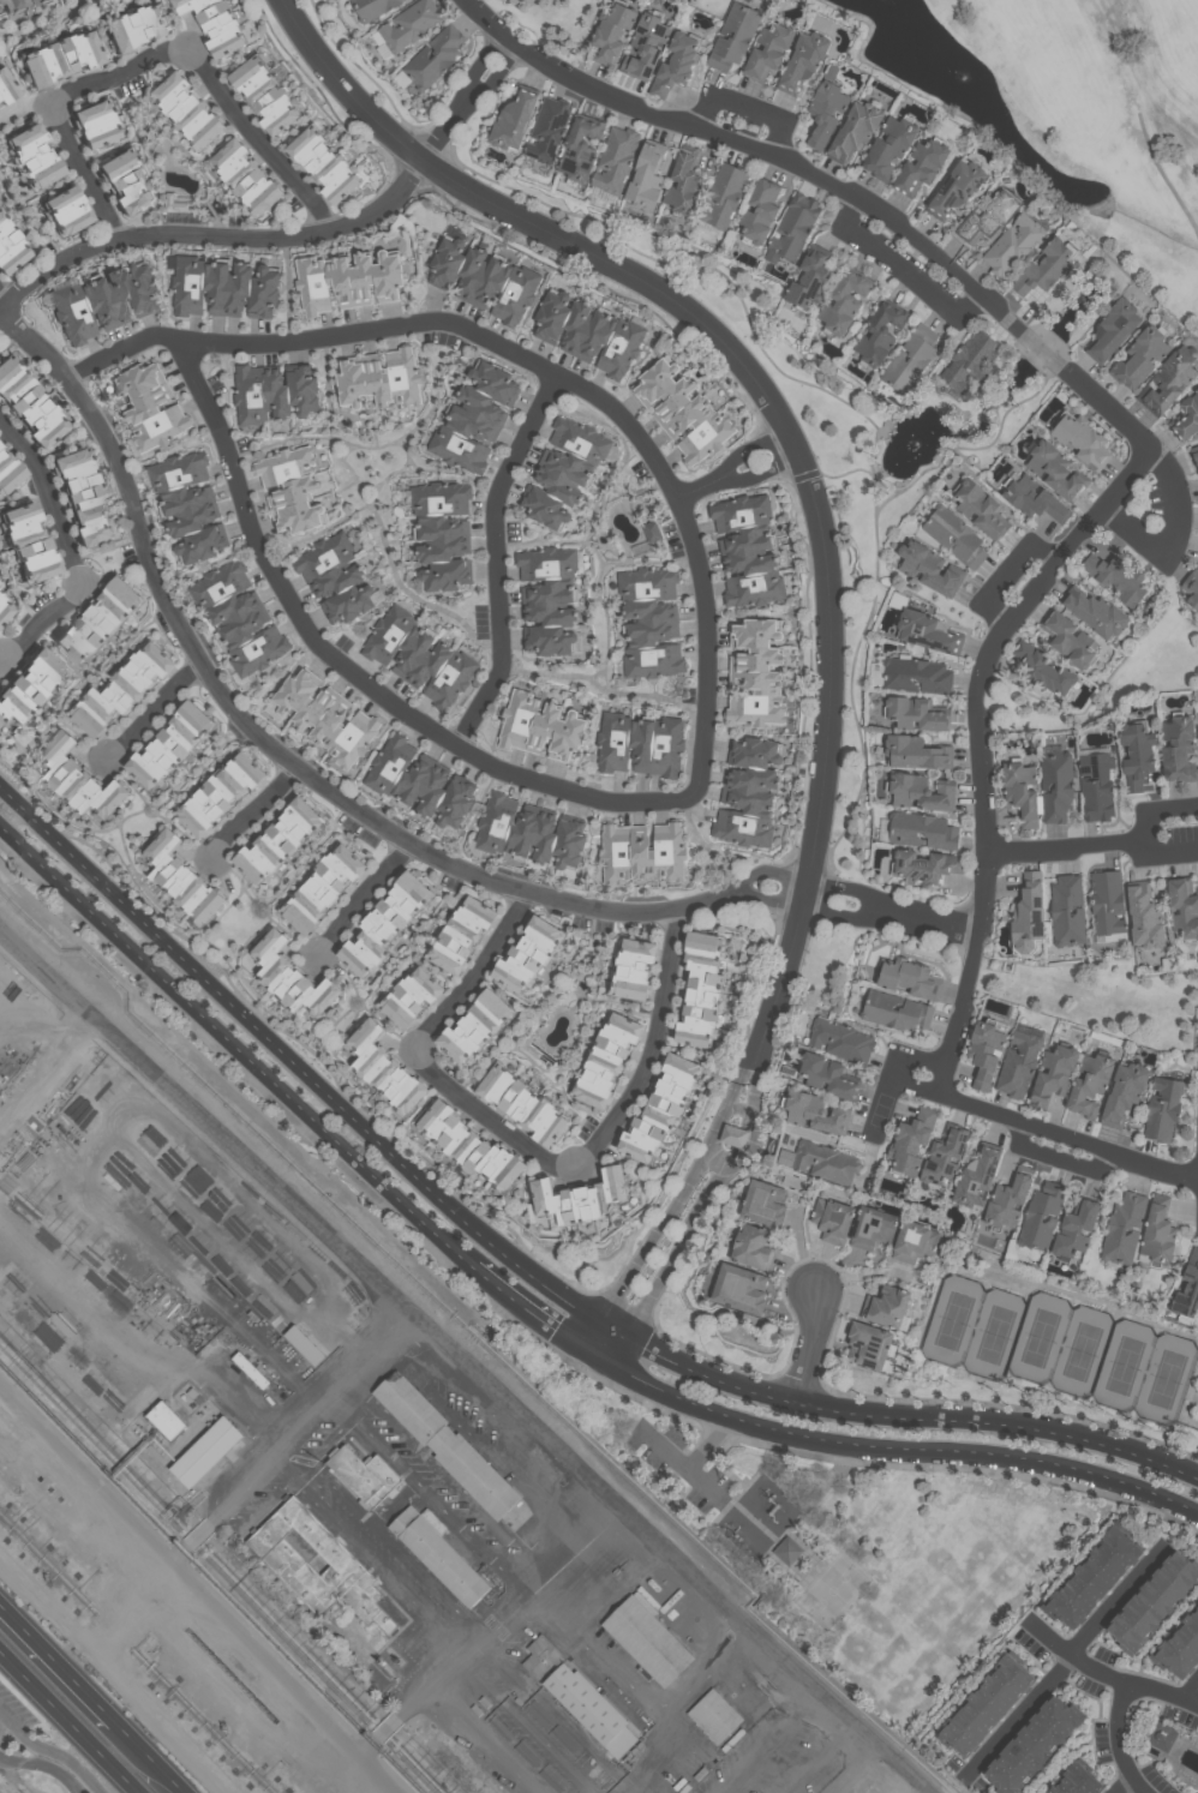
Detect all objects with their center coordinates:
building: (16, 4)
building: (375, 7)
building: (215, 23)
building: (411, 24)
road: (48, 28)
building: (137, 29)
building: (612, 31)
building: (735, 35)
building: (646, 46)
building: (769, 49)
building: (436, 55)
building: (62, 58)
building: (804, 60)
building: (676, 62)
road: (347, 85)
building: (6, 86)
building: (268, 94)
road: (471, 94)
road: (748, 106)
road: (50, 107)
park: (1065, 107)
building: (191, 109)
building: (827, 109)
building: (514, 118)
building: (98, 125)
road: (447, 127)
building: (549, 127)
building: (856, 130)
road: (263, 139)
building: (891, 144)
building: (581, 145)
building: (37, 156)
building: (616, 158)
building: (327, 164)
building: (922, 164)
building: (647, 175)
building: (248, 178)
building: (685, 179)
building: (128, 182)
building: (957, 187)
building: (725, 194)
building: (68, 210)
building: (761, 210)
building: (986, 217)
building: (793, 226)
road: (214, 235)
road: (47, 239)
building: (1012, 244)
building: (11, 246)
building: (1046, 268)
road: (899, 271)
building: (811, 276)
building: (486, 277)
building: (349, 278)
building: (223, 286)
building: (103, 301)
building: (846, 301)
road: (2, 304)
building: (1114, 328)
building: (591, 331)
building: (881, 331)
building: (911, 358)
building: (1140, 358)
building: (971, 359)
road: (544, 365)
building: (1022, 373)
building: (1170, 378)
building: (382, 379)
building: (275, 391)
building: (28, 406)
building: (150, 407)
road: (1107, 407)
building: (684, 410)
building: (477, 415)
building: (1186, 418)
road: (786, 427)
building: (1083, 437)
road: (749, 448)
building: (1194, 456)
building: (1056, 467)
building: (565, 469)
road: (763, 472)
building: (7, 475)
building: (292, 487)
road: (703, 488)
road: (53, 498)
building: (86, 498)
building: (1035, 498)
building: (190, 503)
building: (982, 506)
building: (653, 529)
building: (443, 533)
building: (957, 535)
road: (1182, 538)
building: (29, 542)
building: (745, 550)
road: (498, 557)
building: (929, 565)
road: (1006, 569)
building: (1119, 577)
building: (334, 578)
building: (1192, 587)
building: (550, 596)
building: (5, 606)
building: (1094, 613)
building: (236, 618)
building: (648, 622)
road: (44, 623)
building: (96, 623)
building: (926, 632)
building: (1068, 638)
building: (419, 658)
road: (1, 659)
road: (355, 672)
building: (1046, 672)
building: (755, 674)
building: (911, 674)
building: (26, 688)
building: (120, 689)
road: (157, 710)
building: (917, 714)
building: (322, 716)
building: (1197, 722)
building: (538, 726)
road: (275, 740)
building: (639, 743)
building: (168, 746)
building: (1178, 750)
building: (916, 752)
building: (1137, 754)
building: (417, 782)
building: (78, 784)
building: (1096, 786)
building: (1055, 787)
building: (921, 792)
building: (1020, 792)
building: (220, 793)
building: (747, 793)
road: (1168, 805)
road: (254, 810)
building: (921, 830)
building: (529, 832)
building: (275, 844)
road: (1074, 844)
road: (1157, 851)
road: (1190, 851)
building: (640, 852)
building: (924, 866)
road: (767, 869)
building: (178, 878)
road: (850, 887)
building: (321, 888)
road: (797, 890)
road: (365, 899)
road: (767, 899)
building: (1107, 903)
building: (1182, 906)
building: (1066, 911)
building: (1025, 915)
road: (844, 916)
building: (1144, 916)
road: (936, 922)
building: (383, 923)
building: (461, 934)
building: (525, 955)
building: (630, 967)
road: (479, 976)
building: (288, 978)
building: (909, 978)
road: (778, 981)
building: (699, 991)
building: (409, 999)
building: (895, 1011)
building: (473, 1027)
building: (841, 1042)
road: (236, 1047)
road: (653, 1048)
building: (983, 1053)
building: (605, 1059)
building: (1017, 1065)
road: (892, 1068)
building: (381, 1069)
building: (1050, 1077)
building: (828, 1078)
building: (1089, 1083)
road: (912, 1086)
building: (1124, 1092)
building: (521, 1105)
building: (1161, 1108)
building: (658, 1111)
building: (813, 1113)
road: (491, 1116)
building: (733, 1135)
road: (1066, 1135)
building: (910, 1140)
building: (465, 1144)
building: (942, 1156)
building: (823, 1162)
building: (975, 1179)
building: (580, 1199)
building: (1007, 1200)
road: (675, 1203)
building: (762, 1203)
road: (697, 1210)
building: (1041, 1216)
building: (831, 1219)
building: (871, 1229)
building: (1122, 1229)
building: (1073, 1230)
building: (1158, 1233)
building: (914, 1242)
building: (750, 1247)
road: (525, 1270)
building: (738, 1288)
building: (1187, 1288)
building: (886, 1307)
road: (541, 1319)
building: (310, 1344)
road: (814, 1345)
building: (867, 1345)
road: (468, 1362)
building: (238, 1366)
building: (258, 1369)
road: (311, 1413)
building: (174, 1419)
building: (454, 1444)
road: (902, 1447)
building: (216, 1451)
road: (445, 1474)
building: (371, 1476)
road: (427, 1491)
road: (397, 1505)
road: (263, 1506)
road: (382, 1534)
road: (191, 1537)
park: (851, 1543)
building: (787, 1551)
building: (444, 1557)
building: (323, 1563)
road: (377, 1563)
building: (1090, 1579)
road: (199, 1588)
road: (1121, 1600)
building: (1150, 1603)
road: (134, 1606)
road: (509, 1606)
building: (132, 1613)
building: (652, 1641)
building: (199, 1643)
building: (1178, 1647)
road: (60, 1657)
road: (116, 1673)
road: (1107, 1674)
road: (1193, 1692)
building: (982, 1708)
parking lot: (14, 1715)
building: (718, 1716)
road: (1022, 1719)
road: (70, 1721)
building: (569, 1725)
road: (381, 1732)
building: (1158, 1735)
road: (1122, 1740)
building: (1034, 1745)
road: (53, 1750)
road: (156, 1756)
road: (850, 1764)
road: (44, 1765)
building: (1073, 1781)
road: (1127, 1785)

